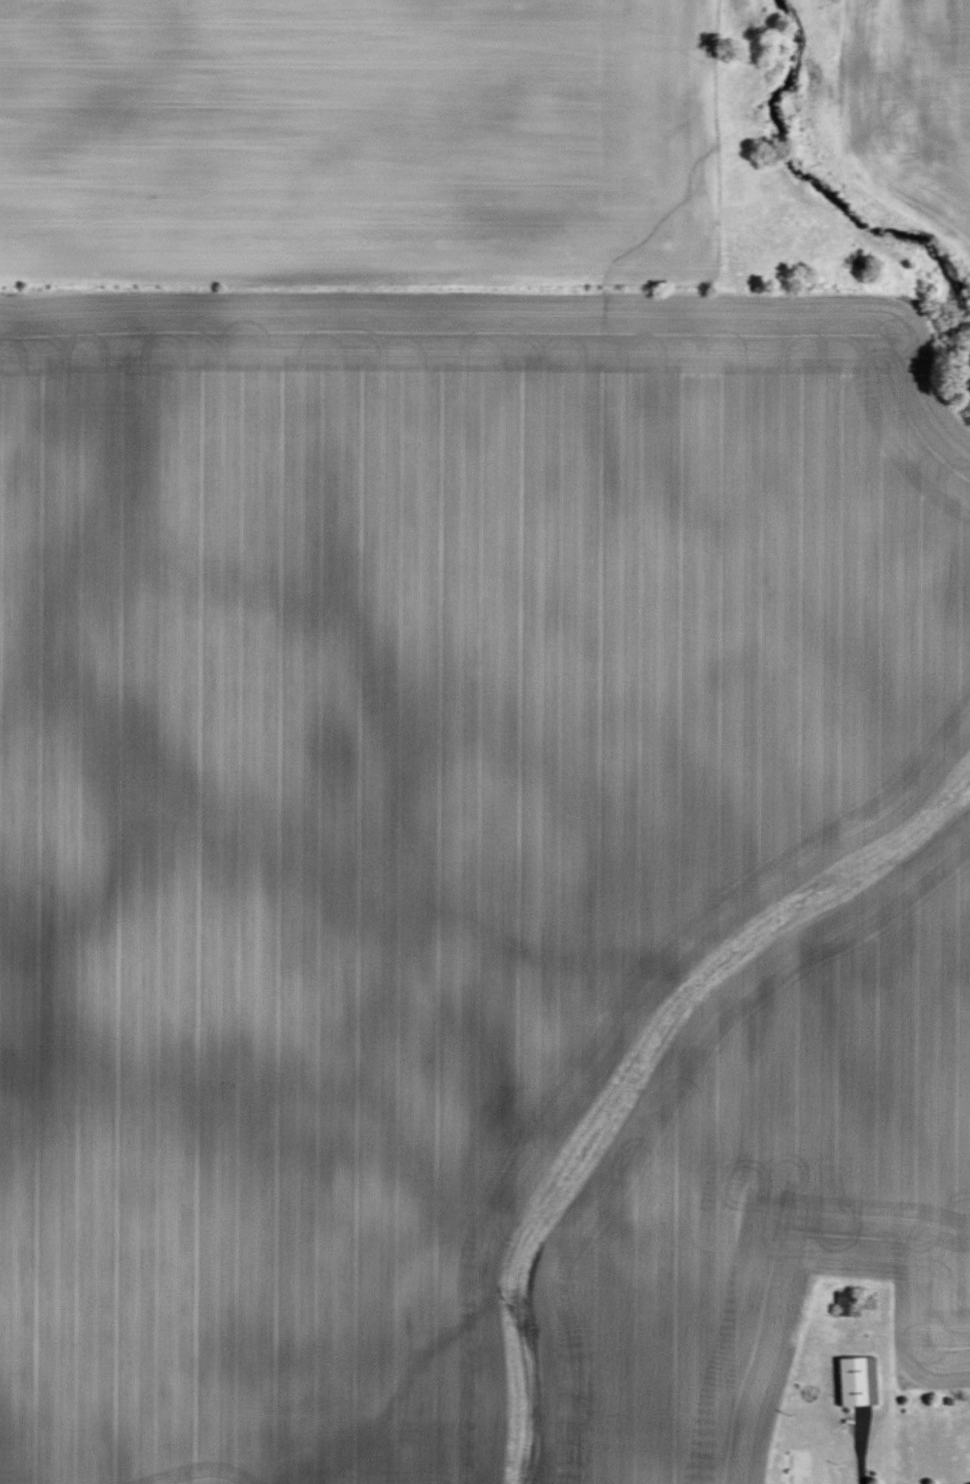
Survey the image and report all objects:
building: (857, 1381)
road: (863, 1462)

